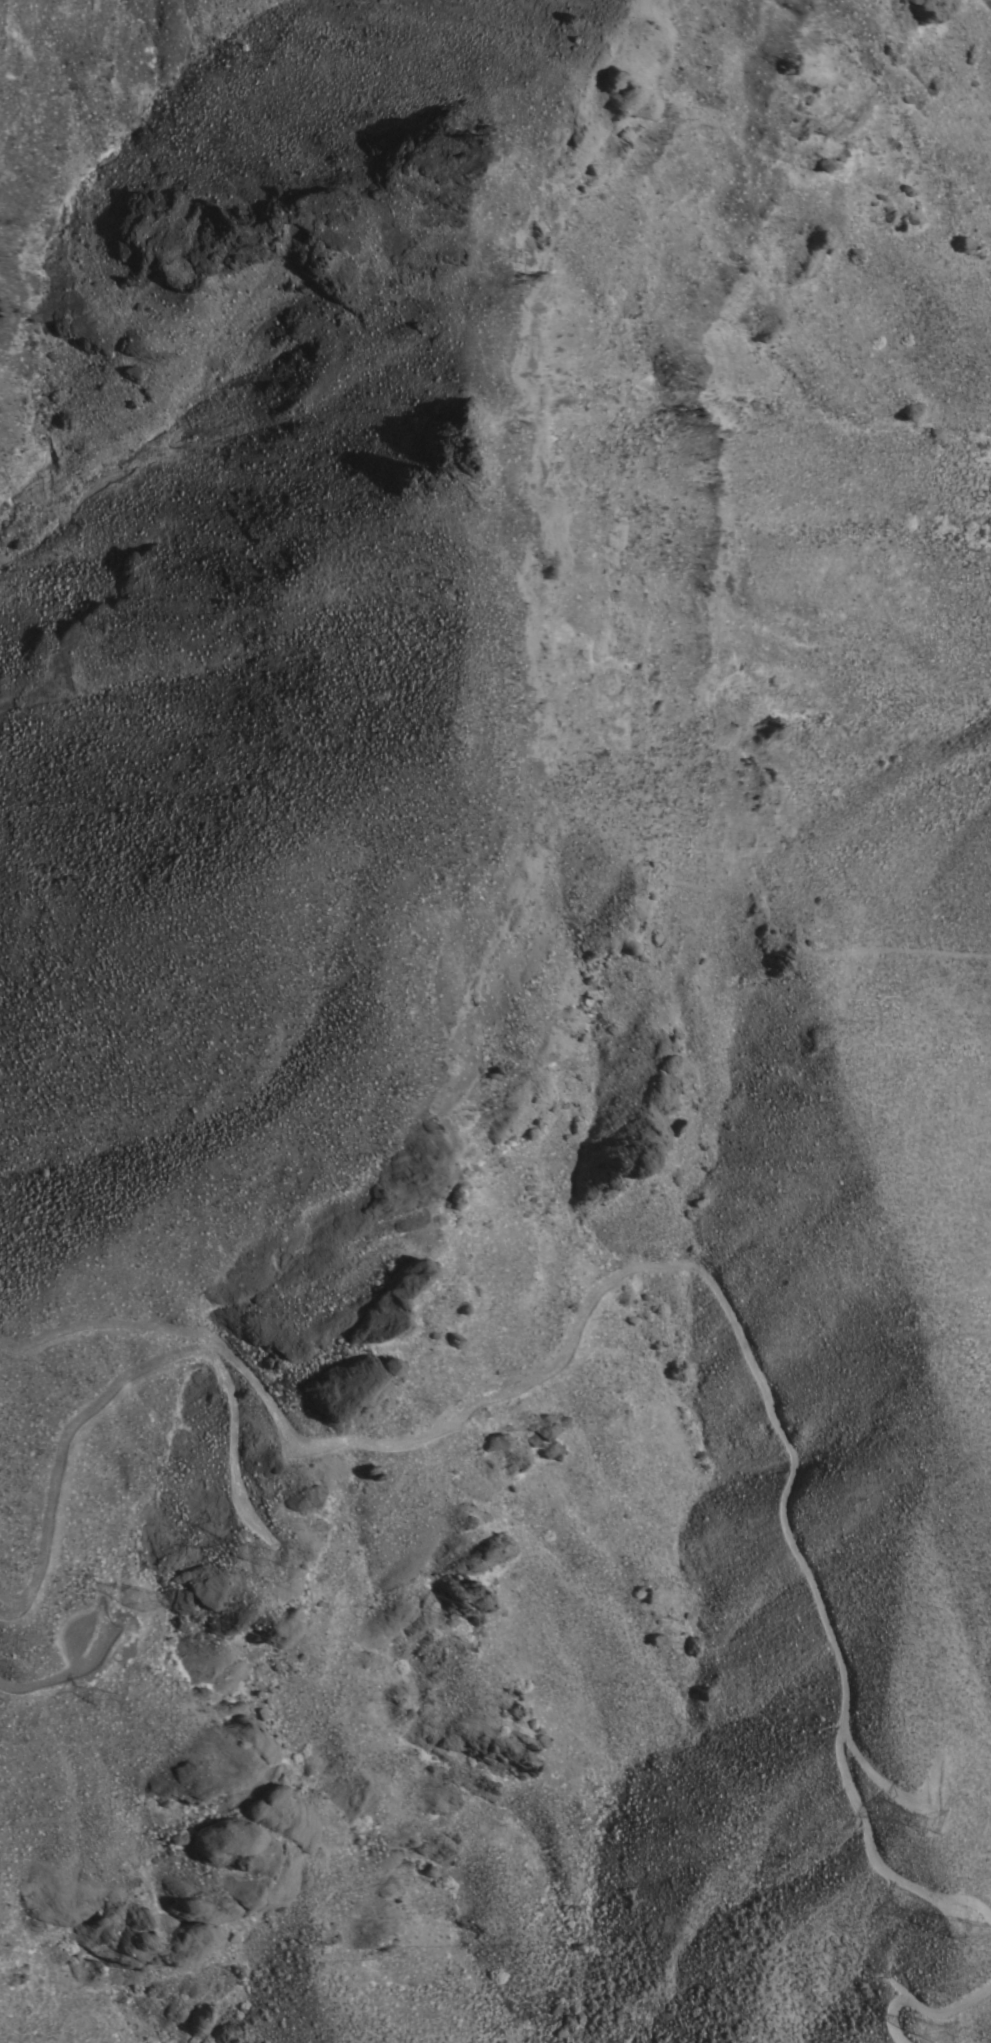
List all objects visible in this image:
power tower: (253, 1557)
power tower: (136, 1602)
power tower: (100, 1698)
power tower: (908, 1815)
power tower: (965, 1930)
power tower: (925, 2031)

